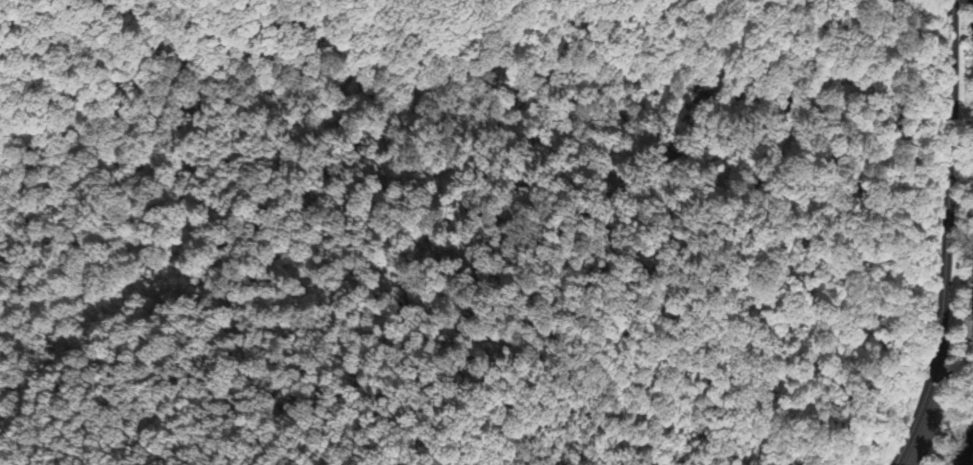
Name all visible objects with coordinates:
road: (945, 236)
river: (966, 451)

